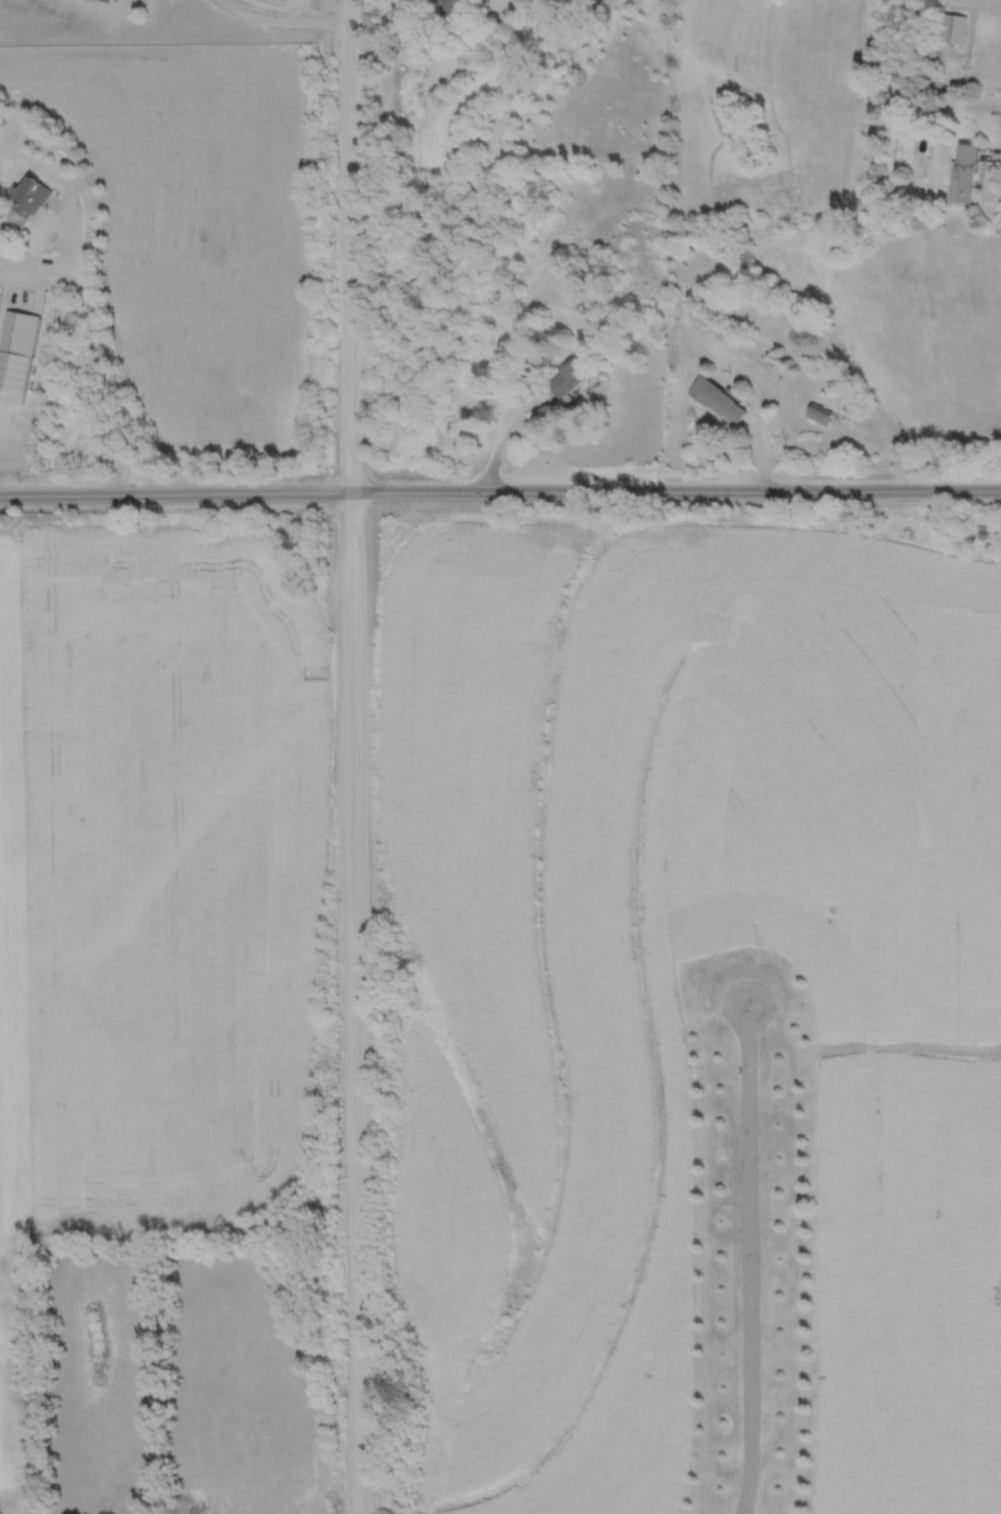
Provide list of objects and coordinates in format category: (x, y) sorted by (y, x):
building: (106, 1)
building: (452, 7)
road: (280, 19)
building: (952, 29)
building: (964, 173)
building: (26, 201)
road: (35, 262)
building: (15, 352)
road: (96, 354)
building: (569, 377)
building: (716, 400)
building: (817, 415)
road: (500, 491)
road: (353, 757)
crop: (544, 1042)
road: (747, 1259)

